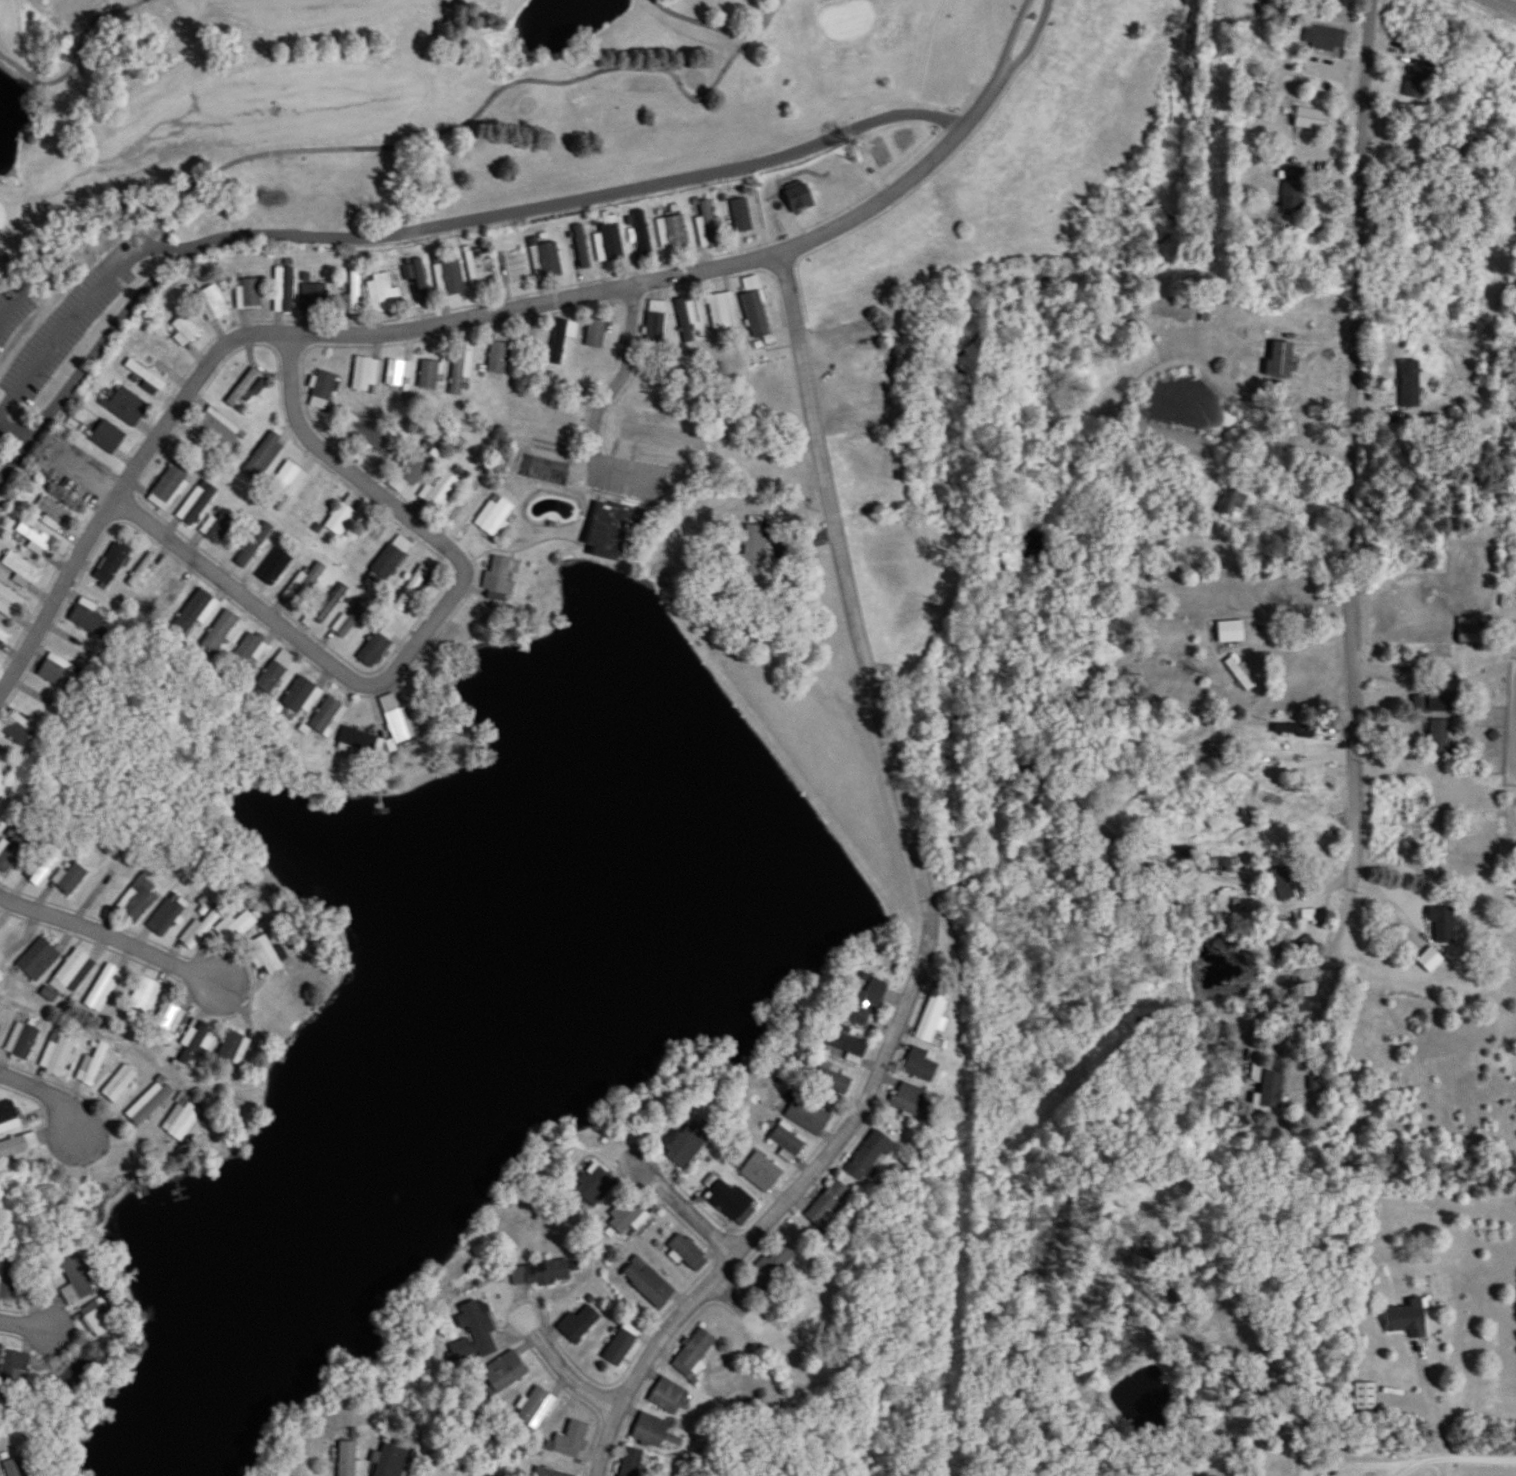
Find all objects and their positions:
road: (1509, 2)
road: (764, 19)
road: (702, 23)
building: (1323, 38)
road: (76, 57)
building: (1418, 83)
building: (1311, 119)
road: (399, 146)
road: (937, 154)
building: (1293, 190)
building: (799, 199)
building: (741, 216)
road: (435, 223)
building: (707, 224)
building: (672, 232)
building: (608, 239)
building: (545, 261)
building: (479, 268)
building: (417, 279)
building: (449, 279)
building: (284, 289)
building: (314, 293)
building: (381, 293)
building: (248, 294)
building: (353, 295)
building: (212, 303)
building: (13, 306)
building: (755, 309)
building: (723, 312)
building: (76, 313)
building: (687, 319)
building: (656, 321)
building: (184, 330)
road: (302, 330)
road: (1283, 330)
building: (595, 333)
building: (498, 352)
building: (1281, 353)
building: (461, 372)
building: (398, 374)
building: (364, 375)
building: (144, 376)
building: (1409, 384)
building: (246, 388)
building: (322, 390)
road: (608, 398)
building: (126, 406)
building: (219, 427)
road: (13, 429)
road: (1355, 434)
building: (367, 435)
building: (107, 437)
building: (263, 457)
building: (288, 479)
building: (168, 485)
building: (440, 491)
building: (314, 497)
building: (196, 503)
building: (1232, 503)
building: (52, 513)
building: (342, 517)
building: (493, 517)
building: (219, 527)
building: (608, 530)
building: (35, 538)
building: (244, 550)
building: (751, 553)
building: (389, 558)
building: (111, 563)
building: (145, 568)
building: (20, 569)
building: (492, 574)
building: (305, 583)
building: (411, 588)
building: (168, 594)
building: (8, 603)
building: (329, 604)
building: (197, 611)
building: (88, 616)
road: (423, 632)
building: (1230, 632)
building: (219, 633)
building: (2, 638)
road: (1299, 638)
building: (375, 647)
building: (245, 652)
building: (56, 671)
building: (275, 672)
building: (1240, 674)
building: (300, 696)
building: (1431, 701)
building: (328, 714)
building: (397, 721)
building: (18, 729)
building: (1295, 730)
building: (357, 743)
building: (12, 851)
road: (919, 869)
building: (43, 871)
building: (71, 878)
building: (1284, 885)
building: (136, 900)
road: (1265, 901)
road: (1396, 911)
road: (1329, 914)
building: (165, 915)
building: (230, 928)
building: (195, 931)
road: (109, 934)
building: (257, 955)
building: (38, 960)
building: (1430, 960)
building: (72, 974)
building: (103, 988)
road: (1294, 990)
building: (143, 996)
building: (864, 1001)
building: (932, 1016)
building: (165, 1019)
building: (21, 1041)
building: (186, 1041)
building: (222, 1048)
building: (58, 1056)
building: (92, 1065)
building: (919, 1065)
building: (833, 1078)
building: (117, 1084)
road: (44, 1090)
building: (1272, 1090)
building: (911, 1102)
building: (146, 1103)
building: (8, 1113)
building: (807, 1115)
building: (177, 1123)
building: (786, 1143)
building: (684, 1146)
building: (18, 1147)
building: (870, 1156)
building: (761, 1172)
building: (595, 1185)
building: (732, 1202)
building: (829, 1206)
road: (687, 1208)
building: (628, 1216)
building: (688, 1253)
building: (772, 1268)
building: (540, 1274)
building: (9, 1280)
building: (74, 1281)
building: (647, 1283)
road: (728, 1299)
road: (24, 1317)
building: (1407, 1320)
building: (96, 1322)
building: (578, 1325)
building: (474, 1332)
building: (618, 1348)
building: (695, 1353)
road: (559, 1365)
building: (14, 1368)
building: (72, 1371)
building: (504, 1372)
building: (668, 1397)
building: (1364, 1397)
road: (1434, 1404)
building: (532, 1410)
building: (1289, 1418)
building: (656, 1432)
road: (604, 1439)
building: (568, 1441)
road: (1450, 1453)
building: (346, 1459)
building: (390, 1461)
building: (630, 1462)
road: (1359, 1462)
building: (13, 1467)
building: (548, 1473)

